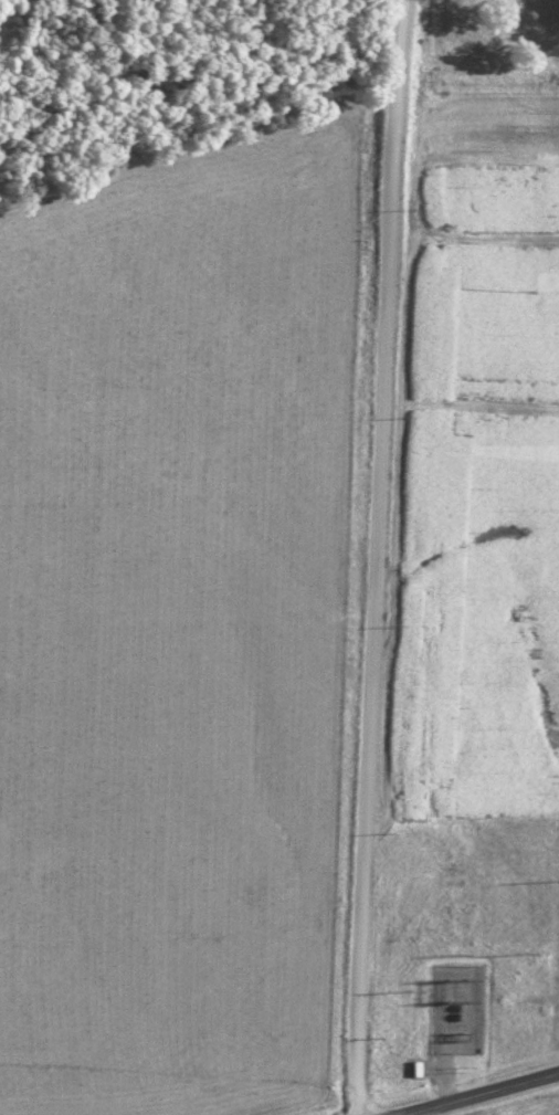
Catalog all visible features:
road: (379, 557)
building: (471, 972)
power substation: (456, 1009)
road: (479, 1096)

